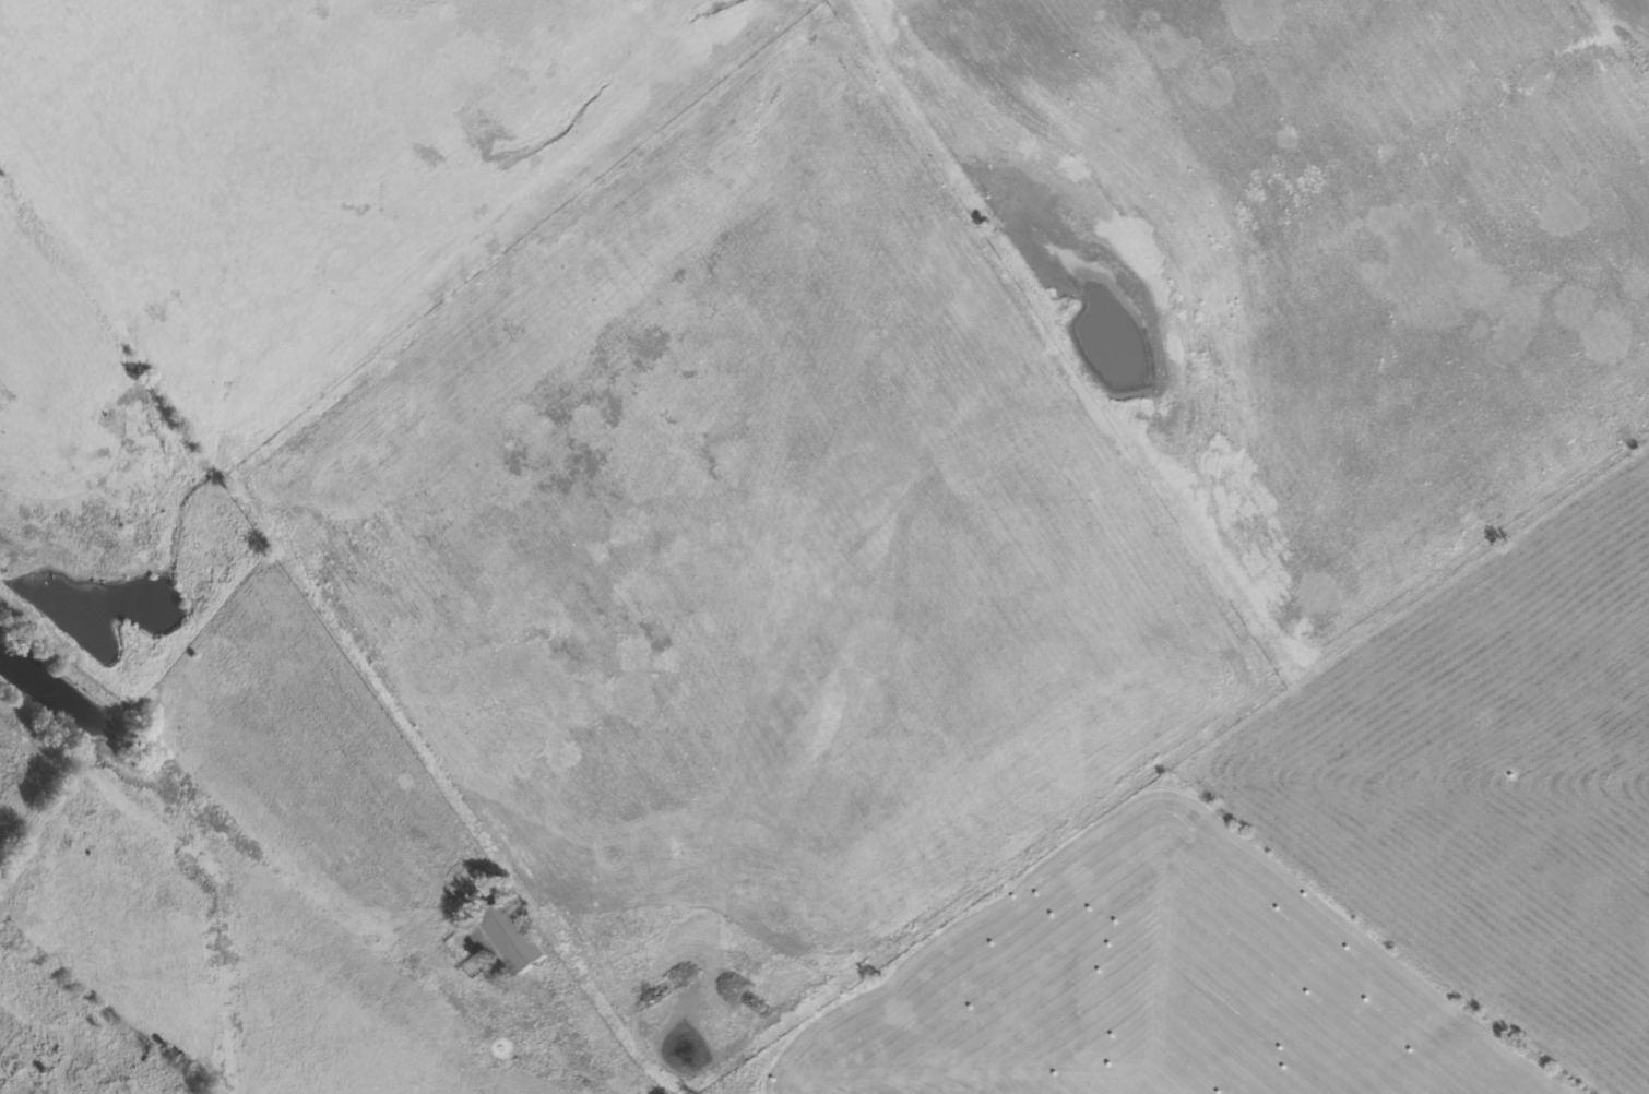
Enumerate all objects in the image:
railway: (290, 871)
building: (510, 942)

